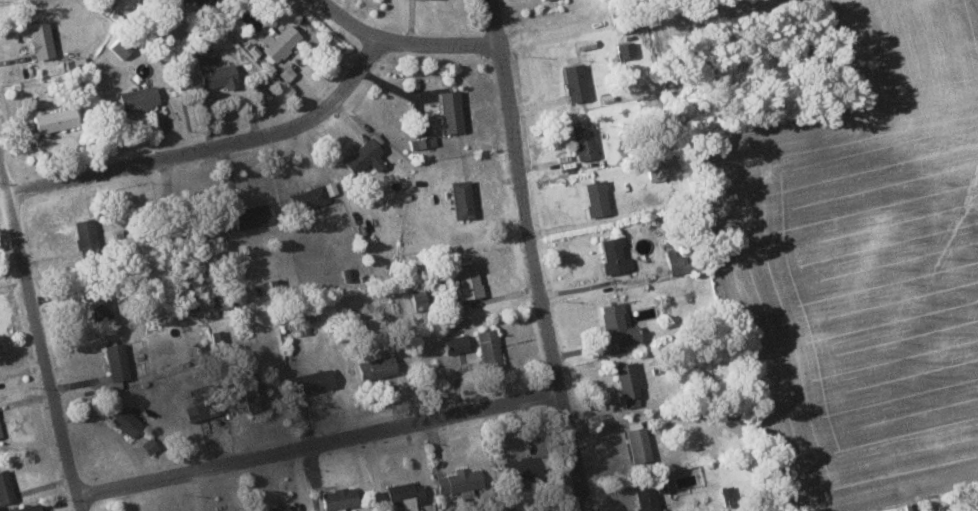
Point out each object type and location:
building: (187, 1)
building: (207, 2)
building: (42, 38)
building: (281, 40)
road: (408, 40)
building: (122, 46)
building: (627, 49)
building: (216, 70)
building: (577, 81)
building: (140, 97)
building: (452, 110)
building: (57, 119)
building: (423, 135)
building: (585, 140)
road: (212, 145)
building: (366, 155)
road: (4, 193)
building: (317, 194)
building: (598, 197)
building: (463, 198)
building: (255, 215)
building: (87, 230)
building: (616, 254)
road: (532, 256)
building: (679, 262)
building: (469, 281)
building: (420, 294)
building: (191, 301)
building: (101, 305)
building: (620, 326)
road: (40, 332)
building: (457, 343)
building: (490, 346)
building: (118, 360)
building: (378, 366)
building: (316, 380)
building: (631, 383)
building: (260, 399)
building: (206, 408)
building: (128, 421)
building: (1, 430)
building: (639, 436)
road: (319, 444)
building: (526, 466)
building: (461, 480)
building: (6, 486)
building: (408, 494)
building: (341, 498)
building: (648, 499)
building: (278, 507)
building: (27, 508)

